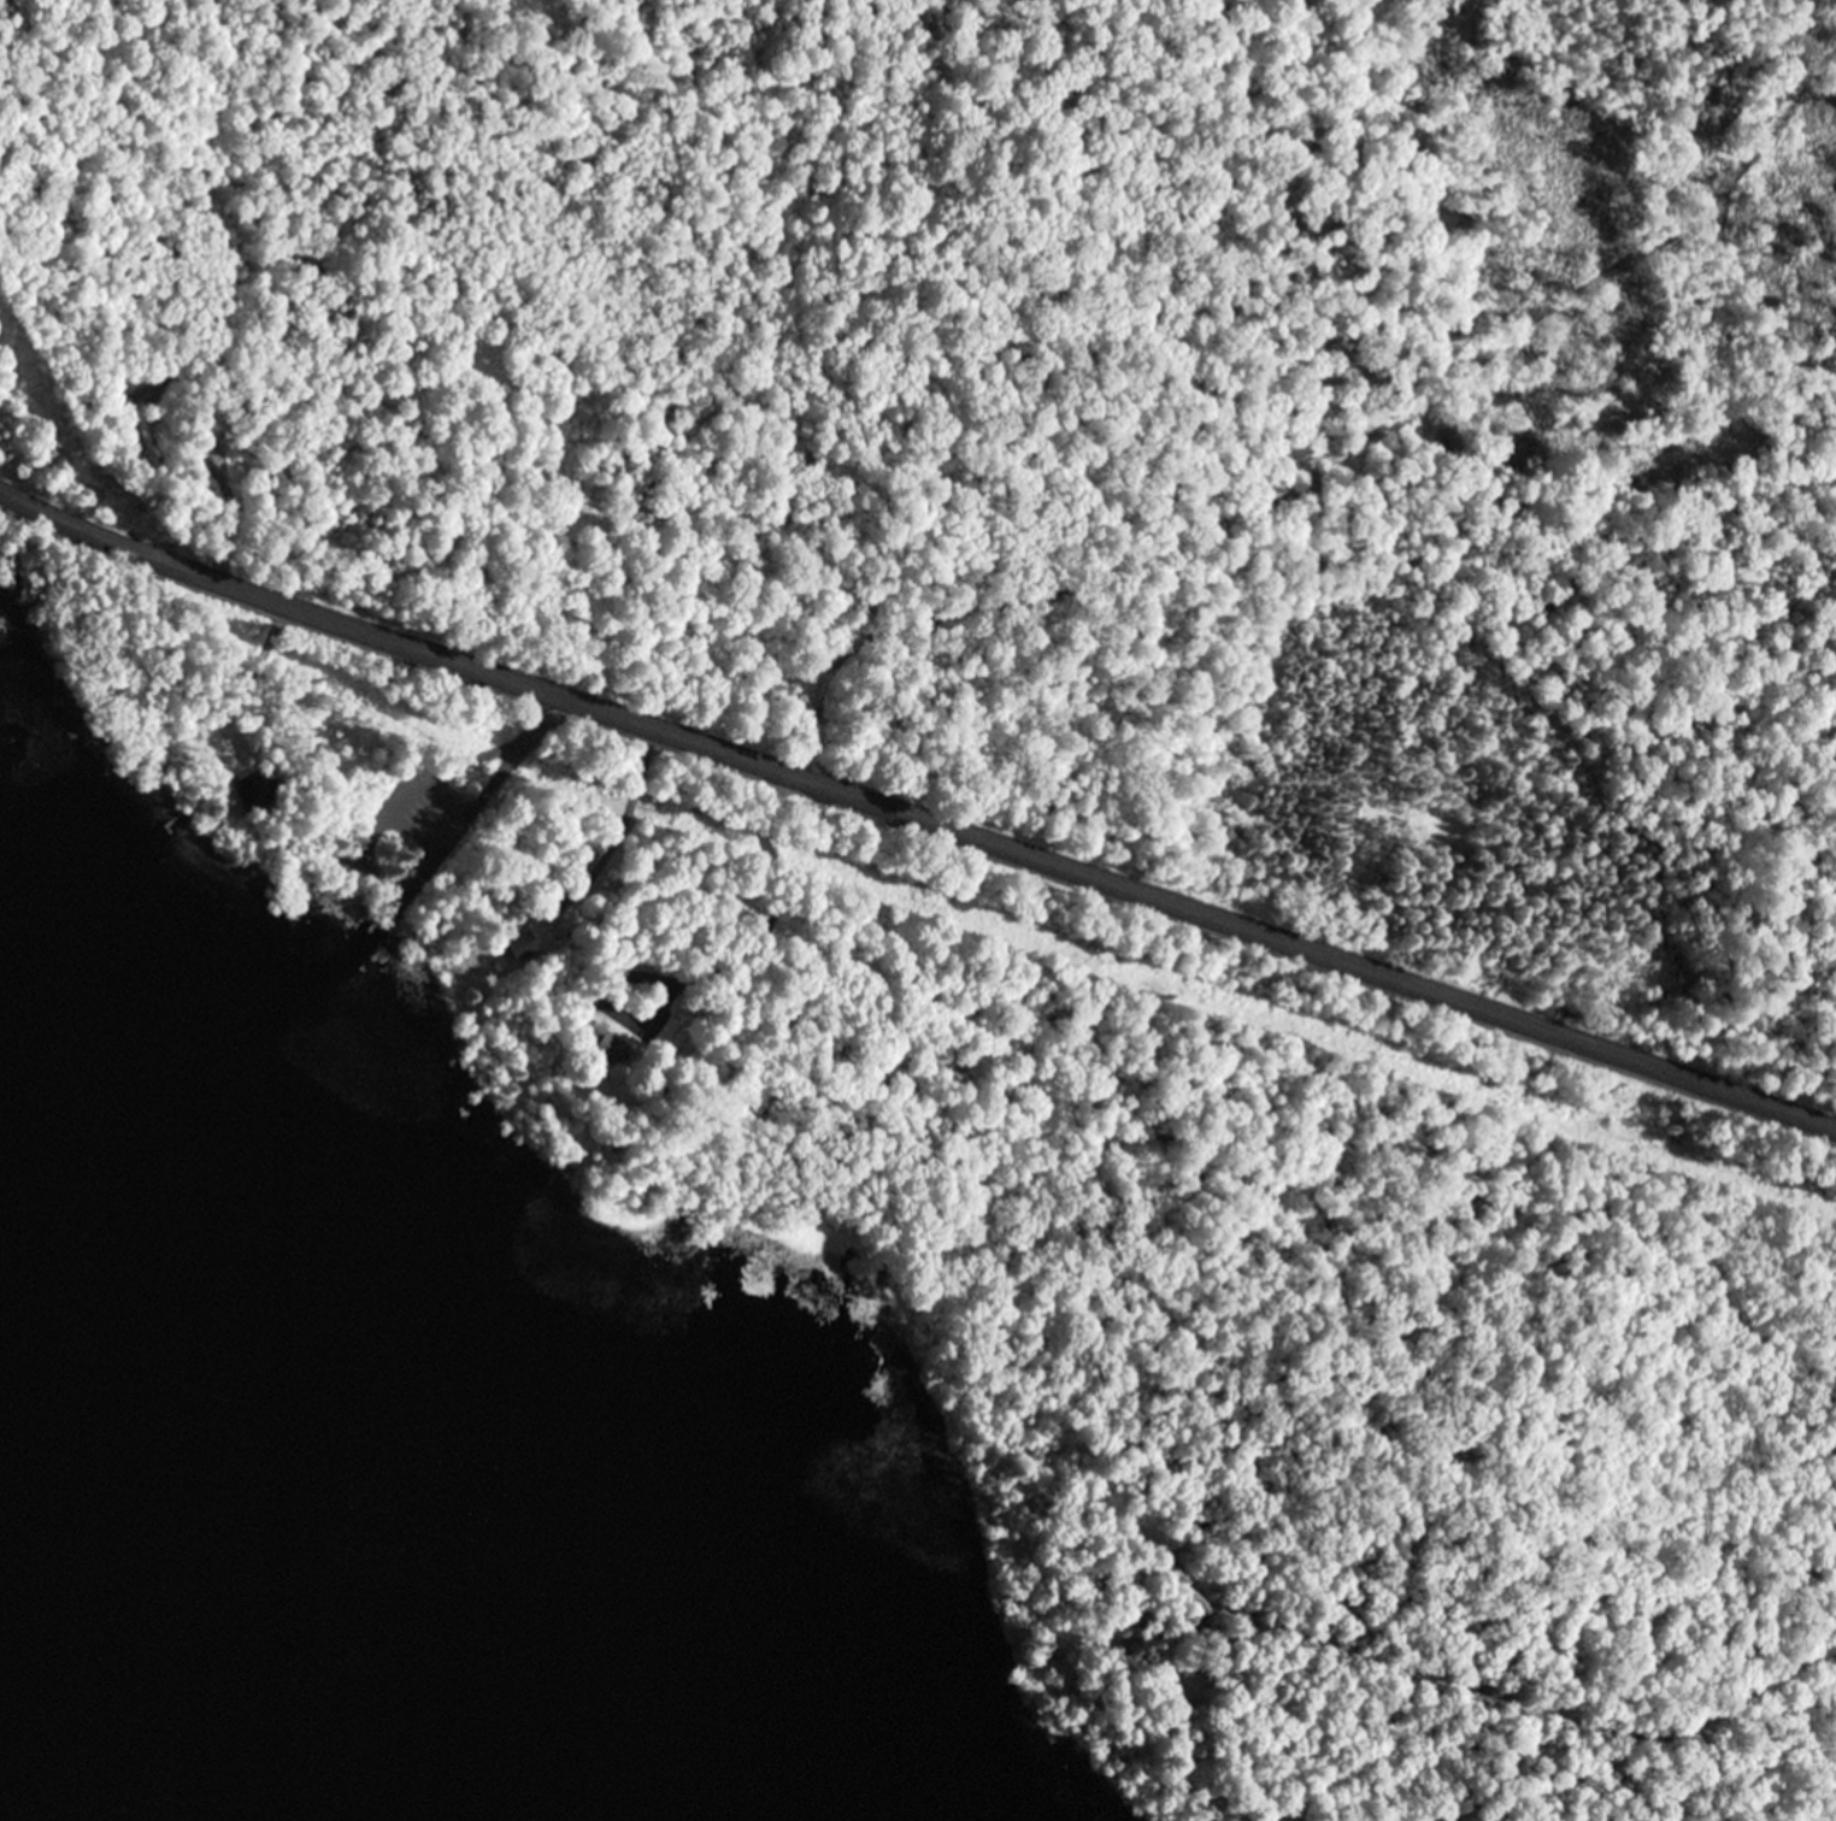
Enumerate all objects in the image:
road: (913, 807)
road: (1458, 1608)

